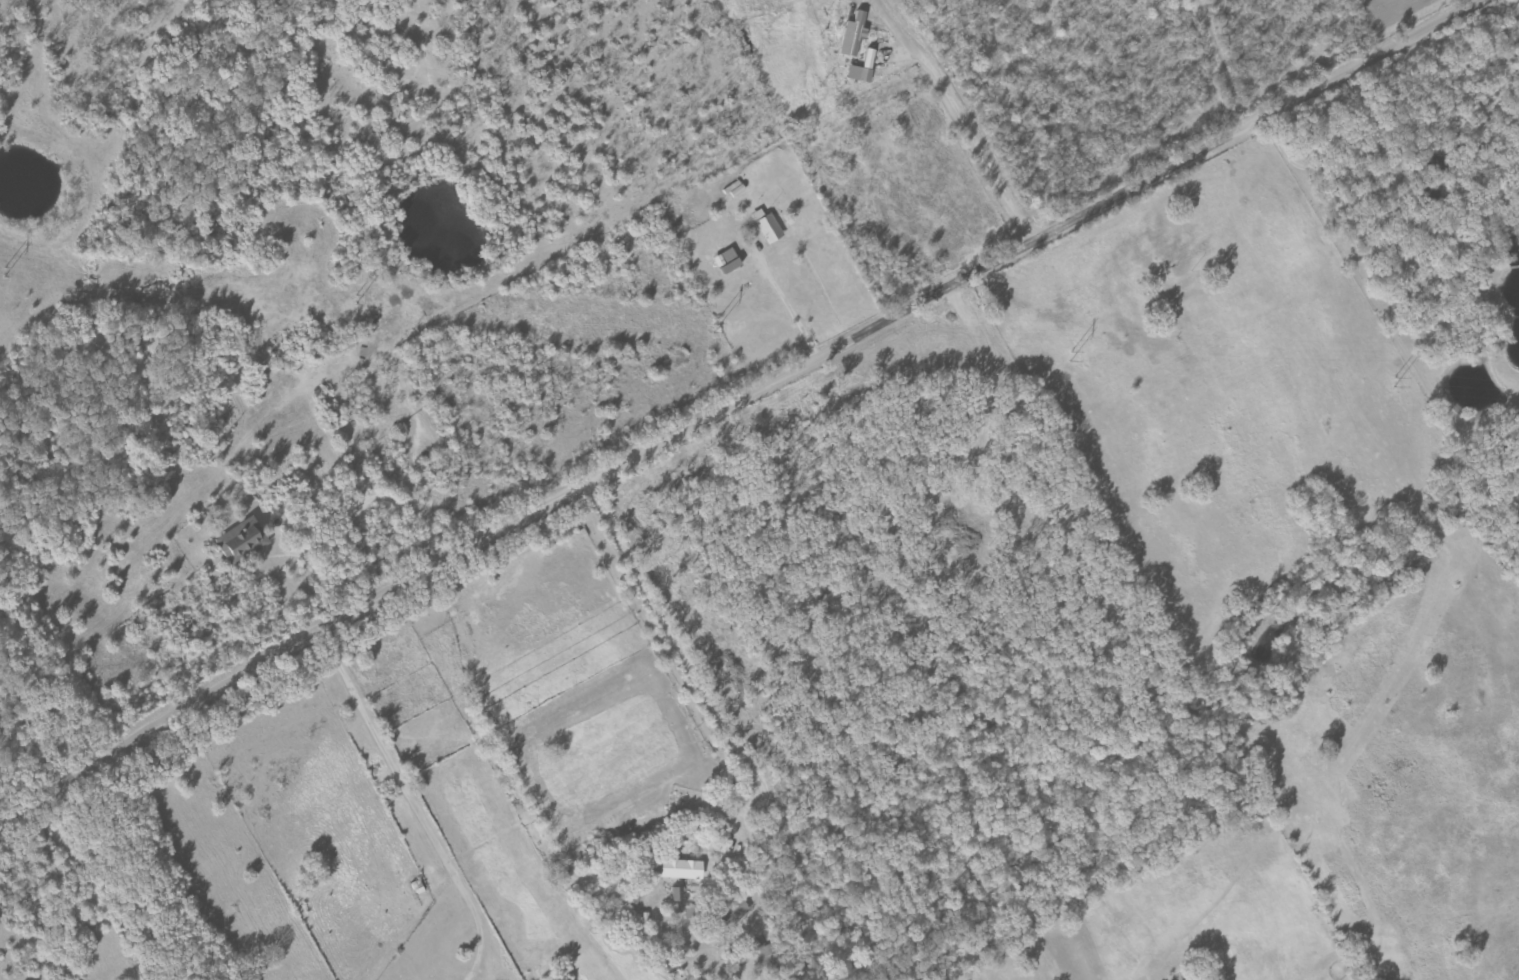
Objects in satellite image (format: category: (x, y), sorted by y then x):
building: (855, 37)
building: (866, 69)
road: (826, 154)
building: (765, 226)
building: (724, 262)
power tower: (6, 271)
power tower: (357, 299)
power tower: (715, 327)
power tower: (1072, 355)
power tower: (1397, 381)
road: (735, 404)
building: (245, 541)
building: (681, 870)
road: (147, 875)
building: (735, 912)

